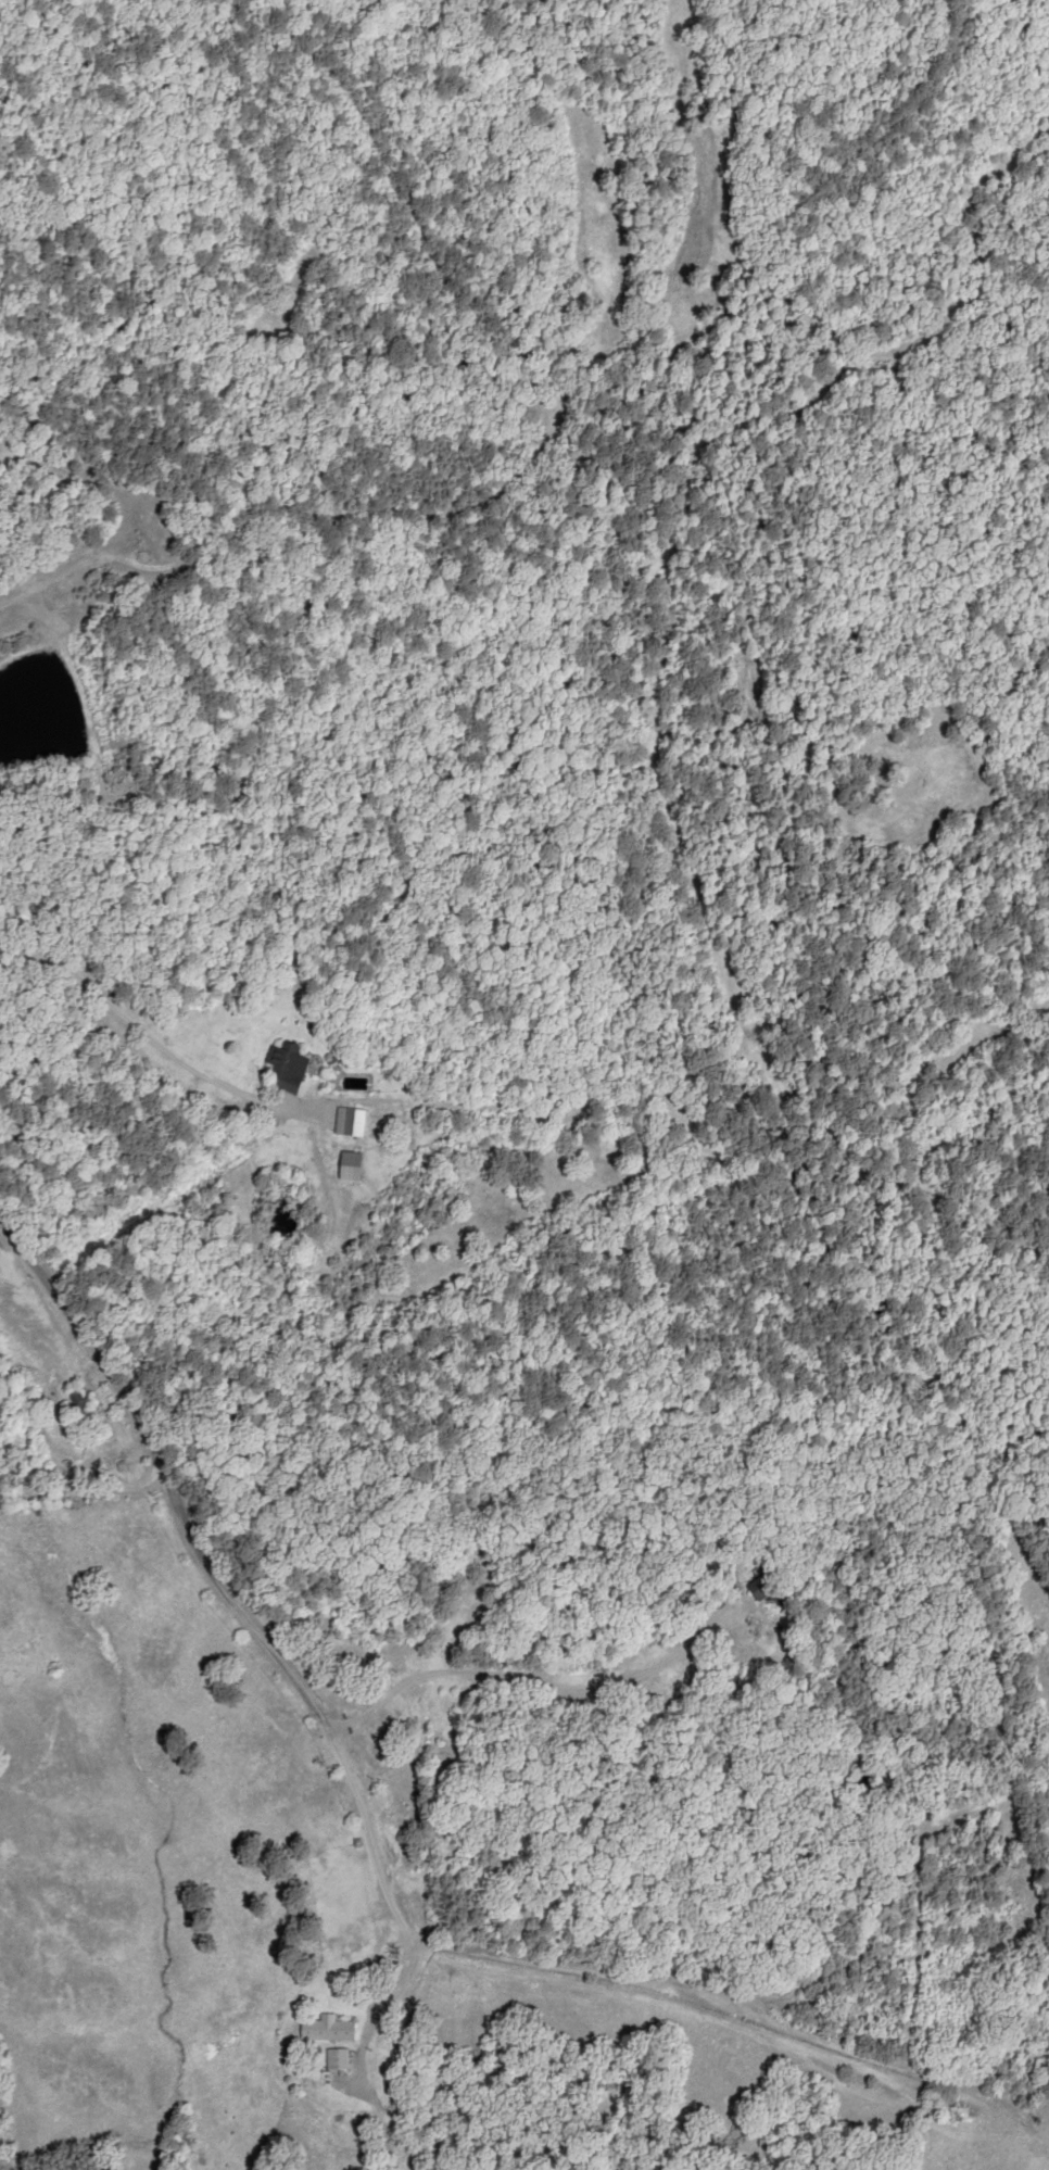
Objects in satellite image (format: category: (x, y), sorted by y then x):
road: (314, 1013)
building: (283, 1065)
building: (333, 1114)
building: (81, 1414)
road: (217, 1498)
building: (327, 2029)

